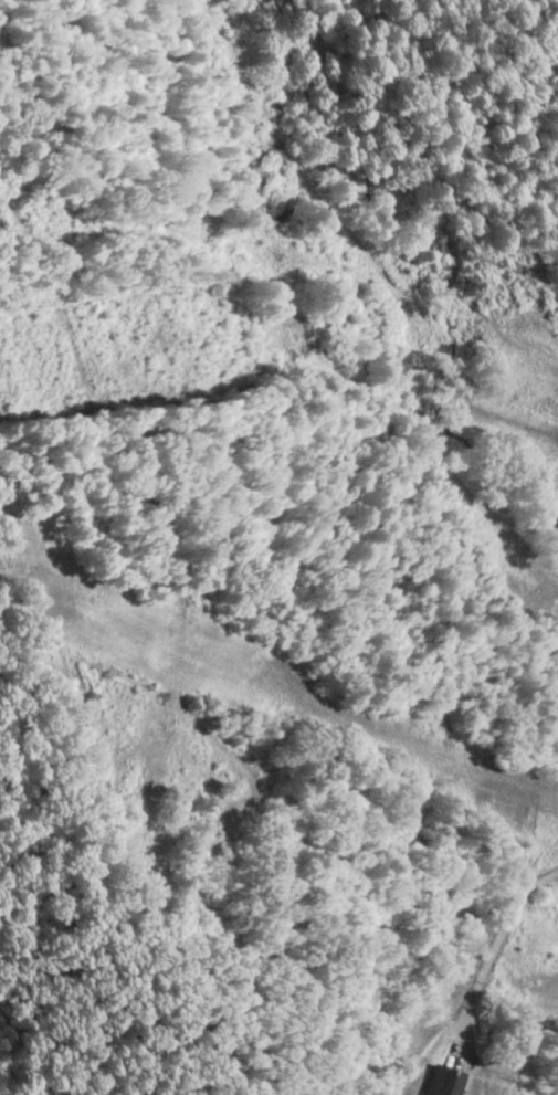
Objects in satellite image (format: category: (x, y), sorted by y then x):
building: (455, 1081)

